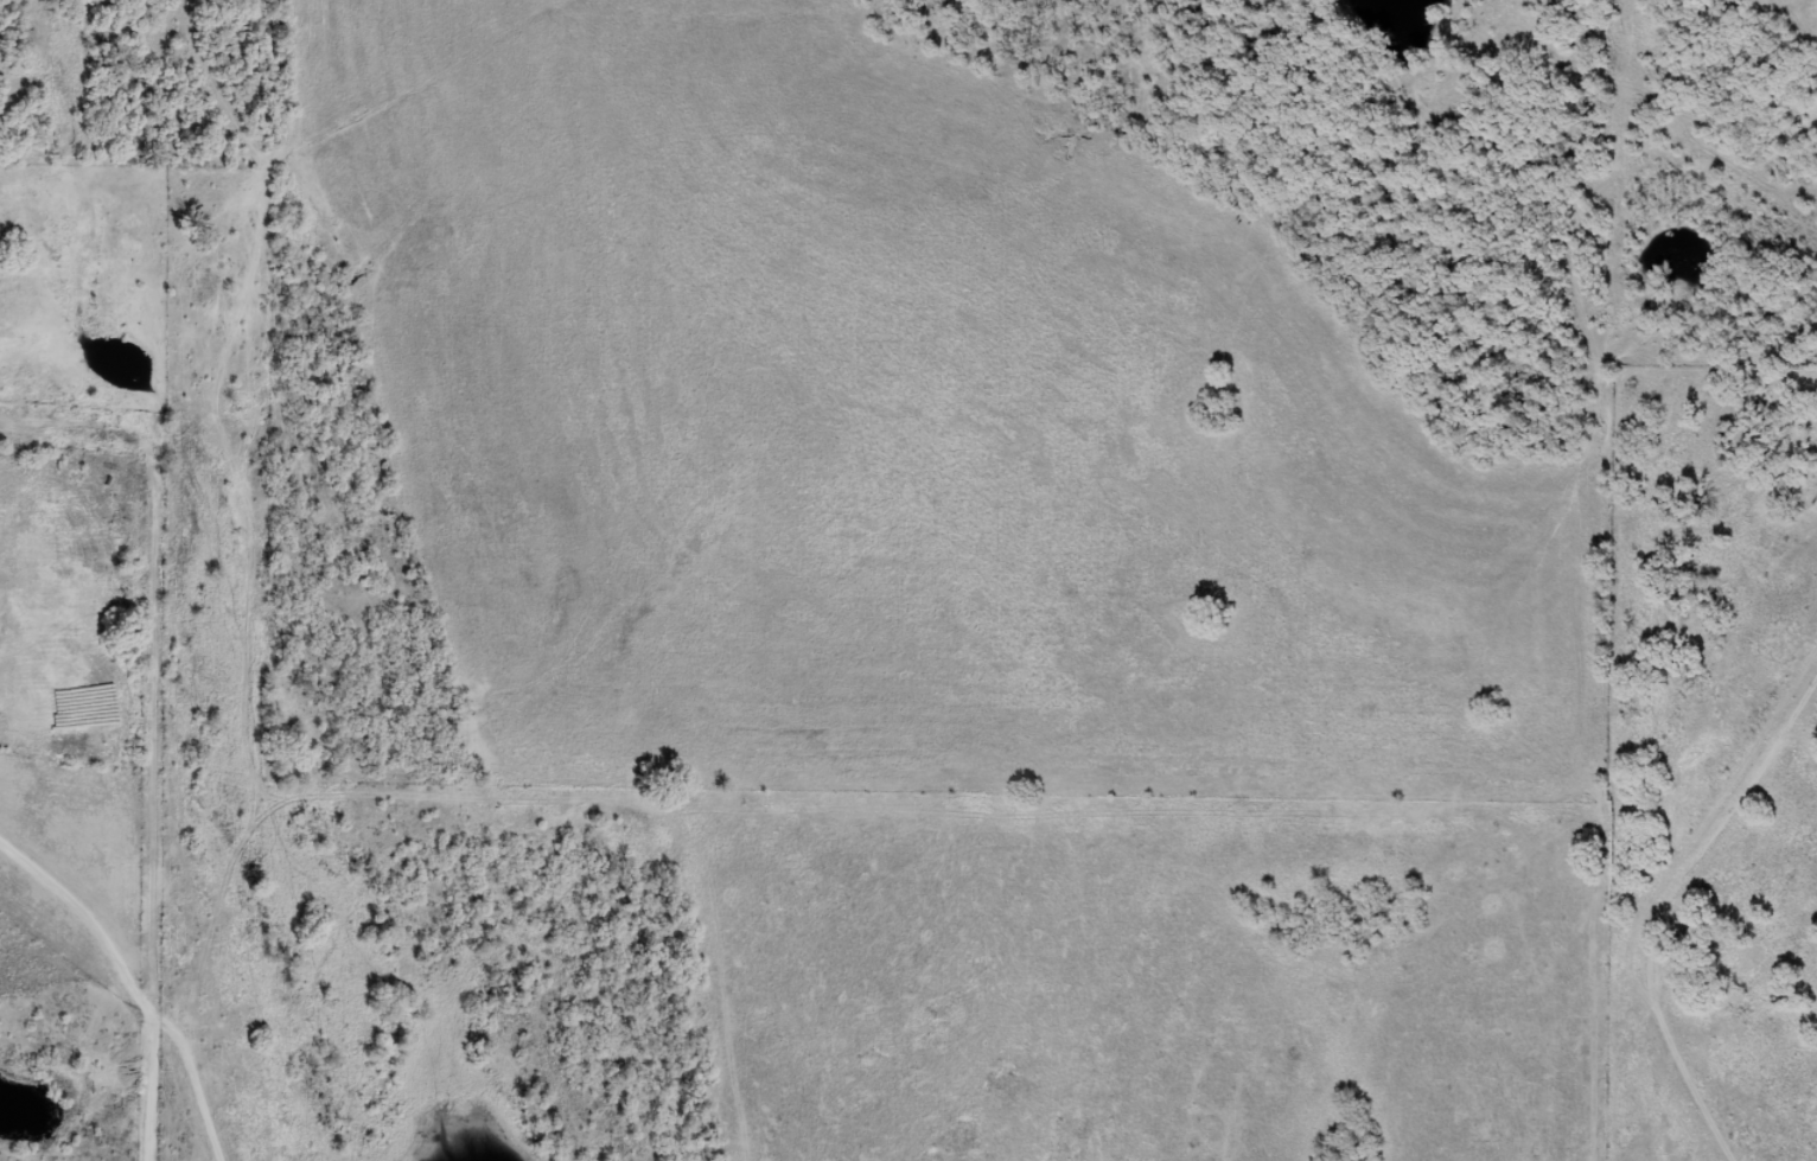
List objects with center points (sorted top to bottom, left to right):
road: (1692, 940)
road: (75, 1080)

